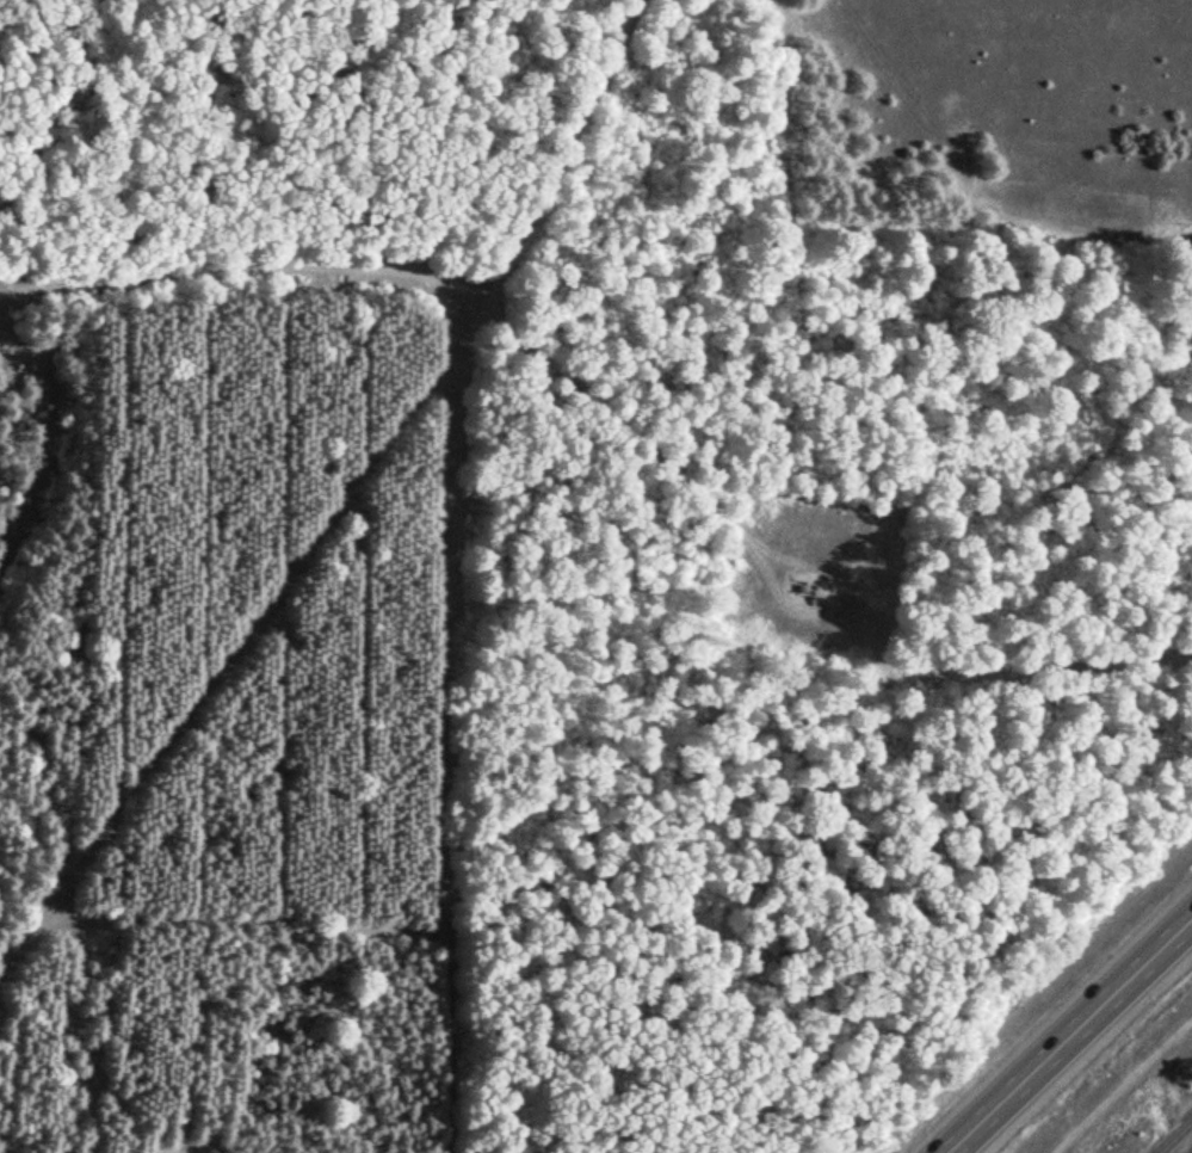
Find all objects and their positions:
road: (501, 304)
petroleum well: (810, 599)
road: (827, 623)
road: (1066, 1030)
road: (1126, 1090)
railway: (1175, 1136)

